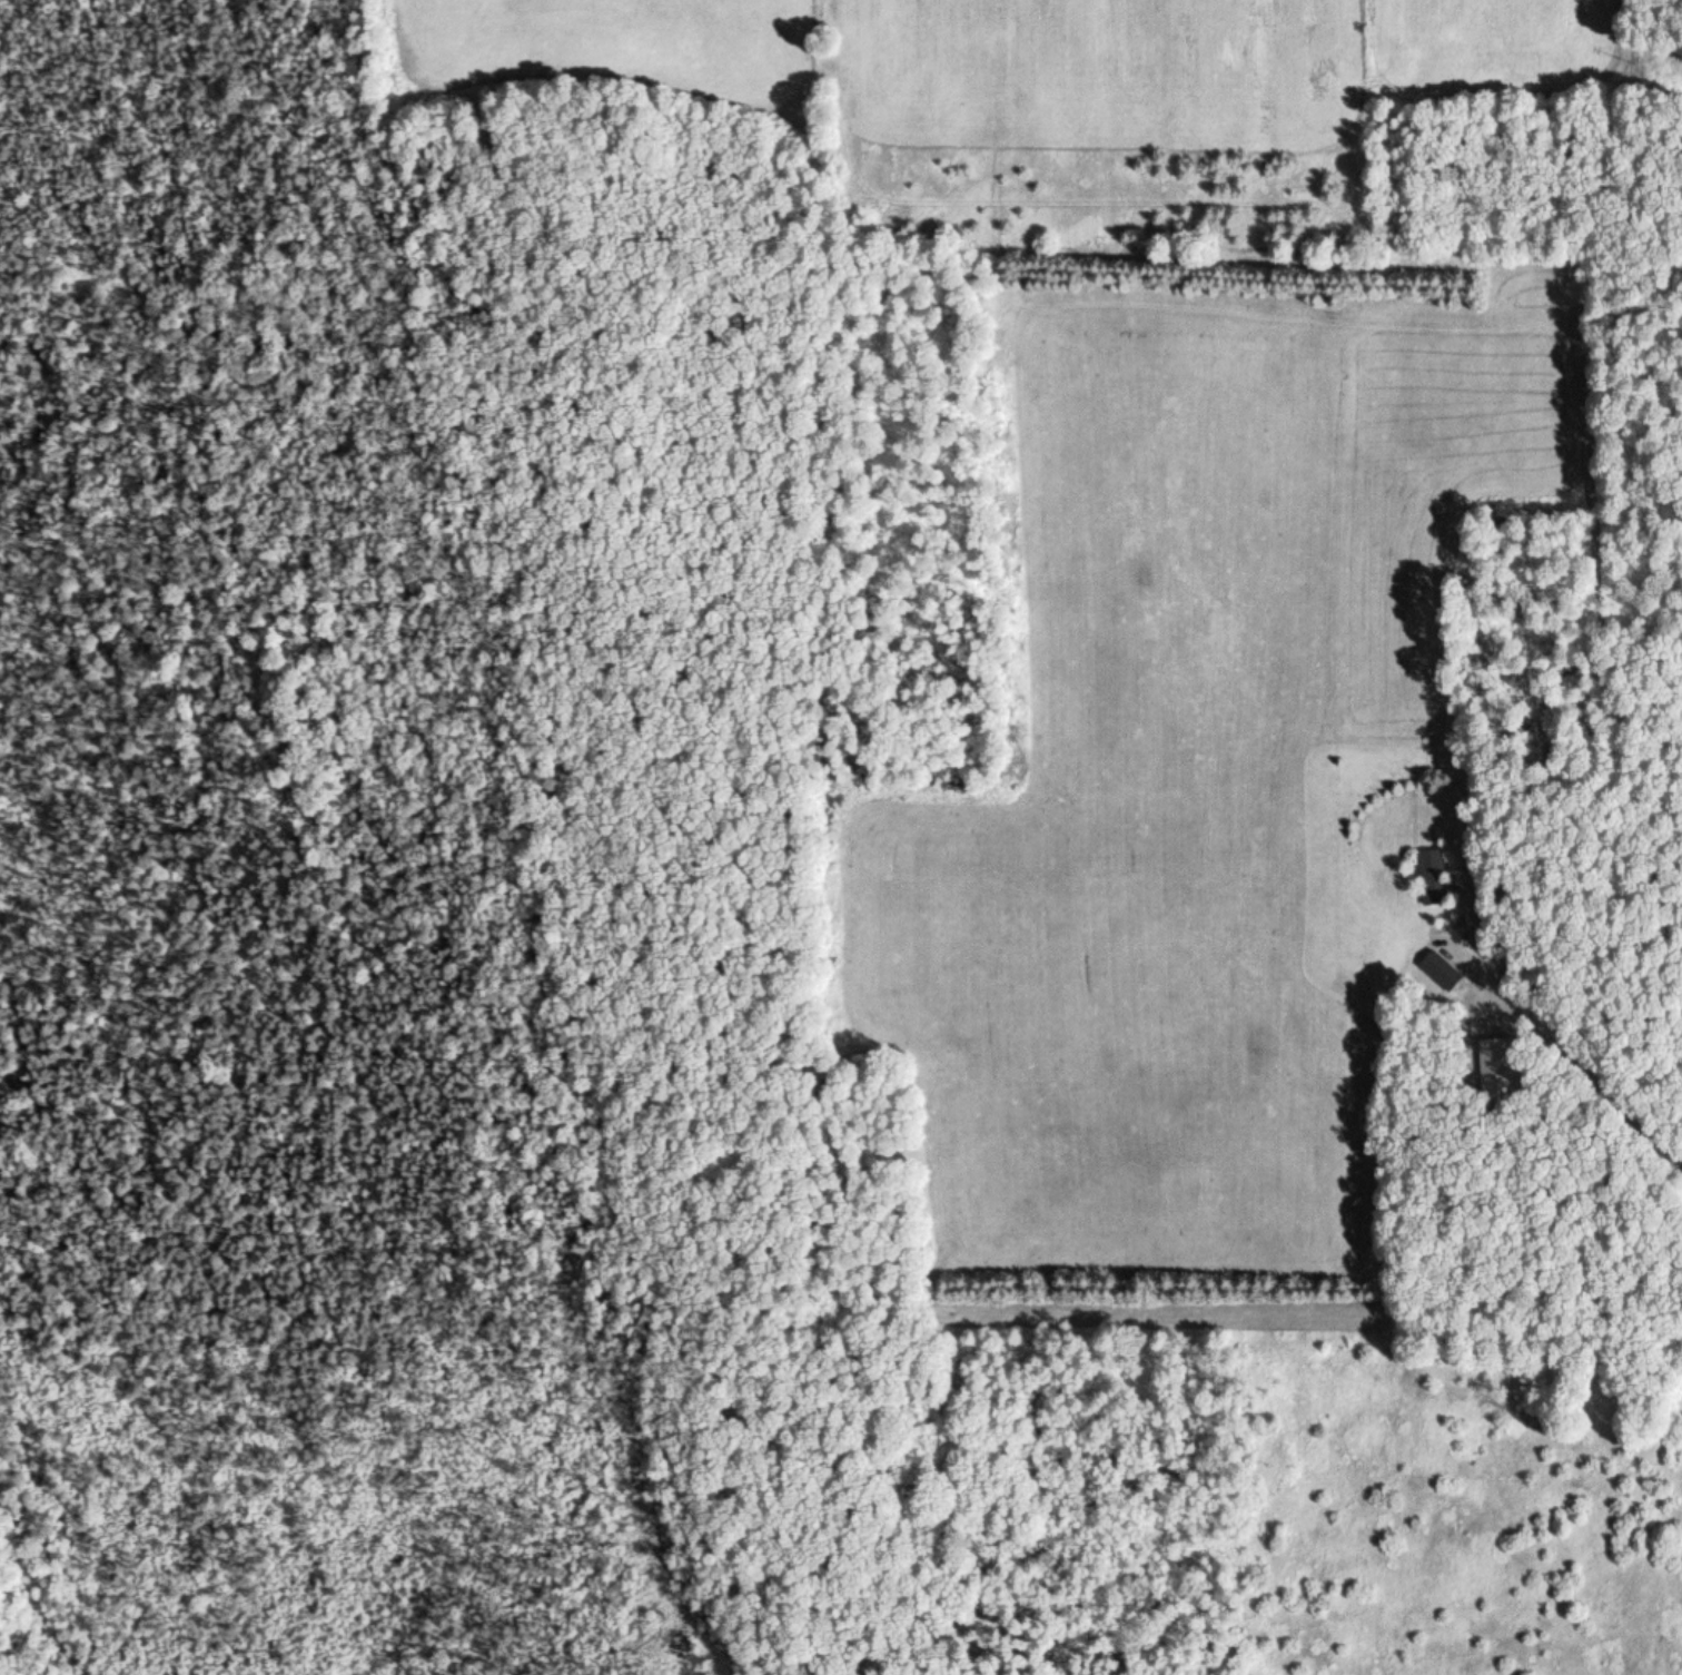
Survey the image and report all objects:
building: (1431, 878)

